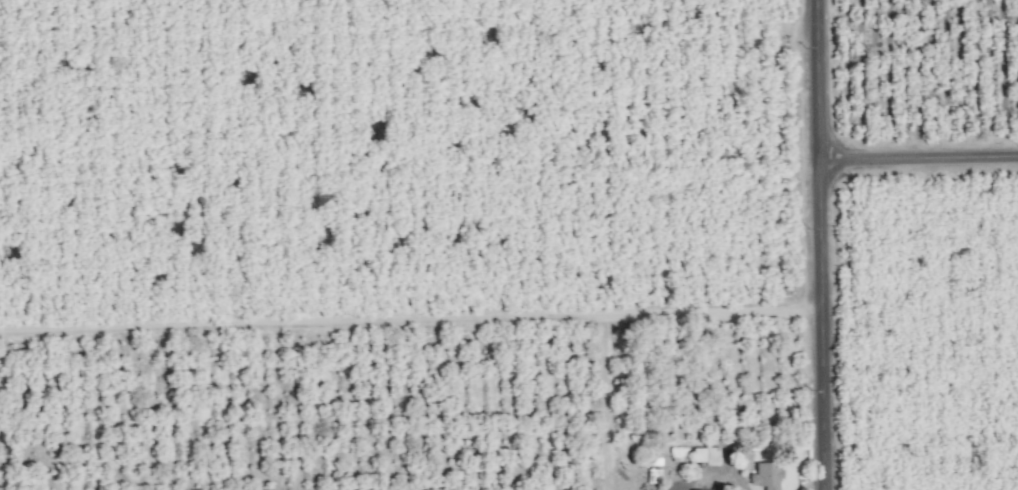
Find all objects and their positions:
road: (920, 162)
road: (823, 245)
building: (705, 454)
building: (766, 474)
building: (702, 489)

